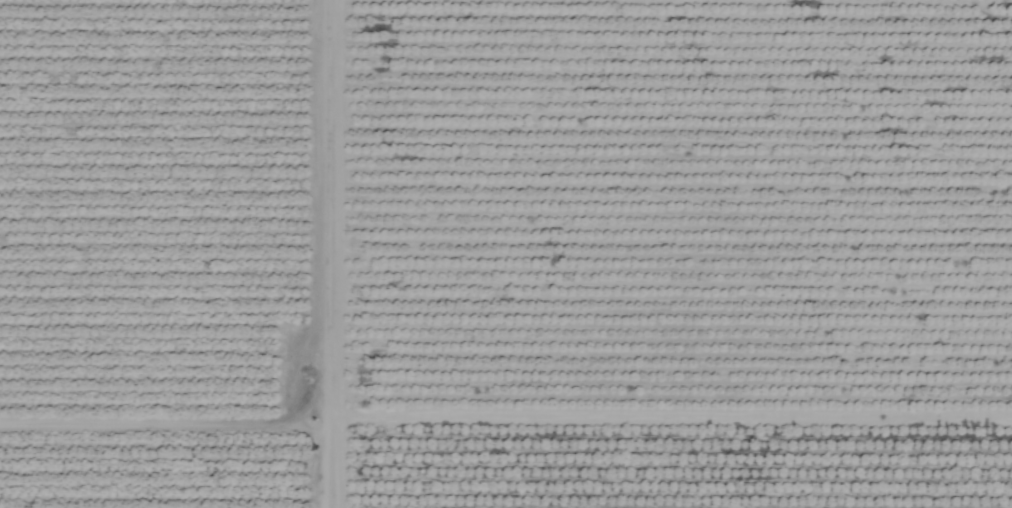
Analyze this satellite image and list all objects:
road: (327, 253)
crop: (506, 254)

